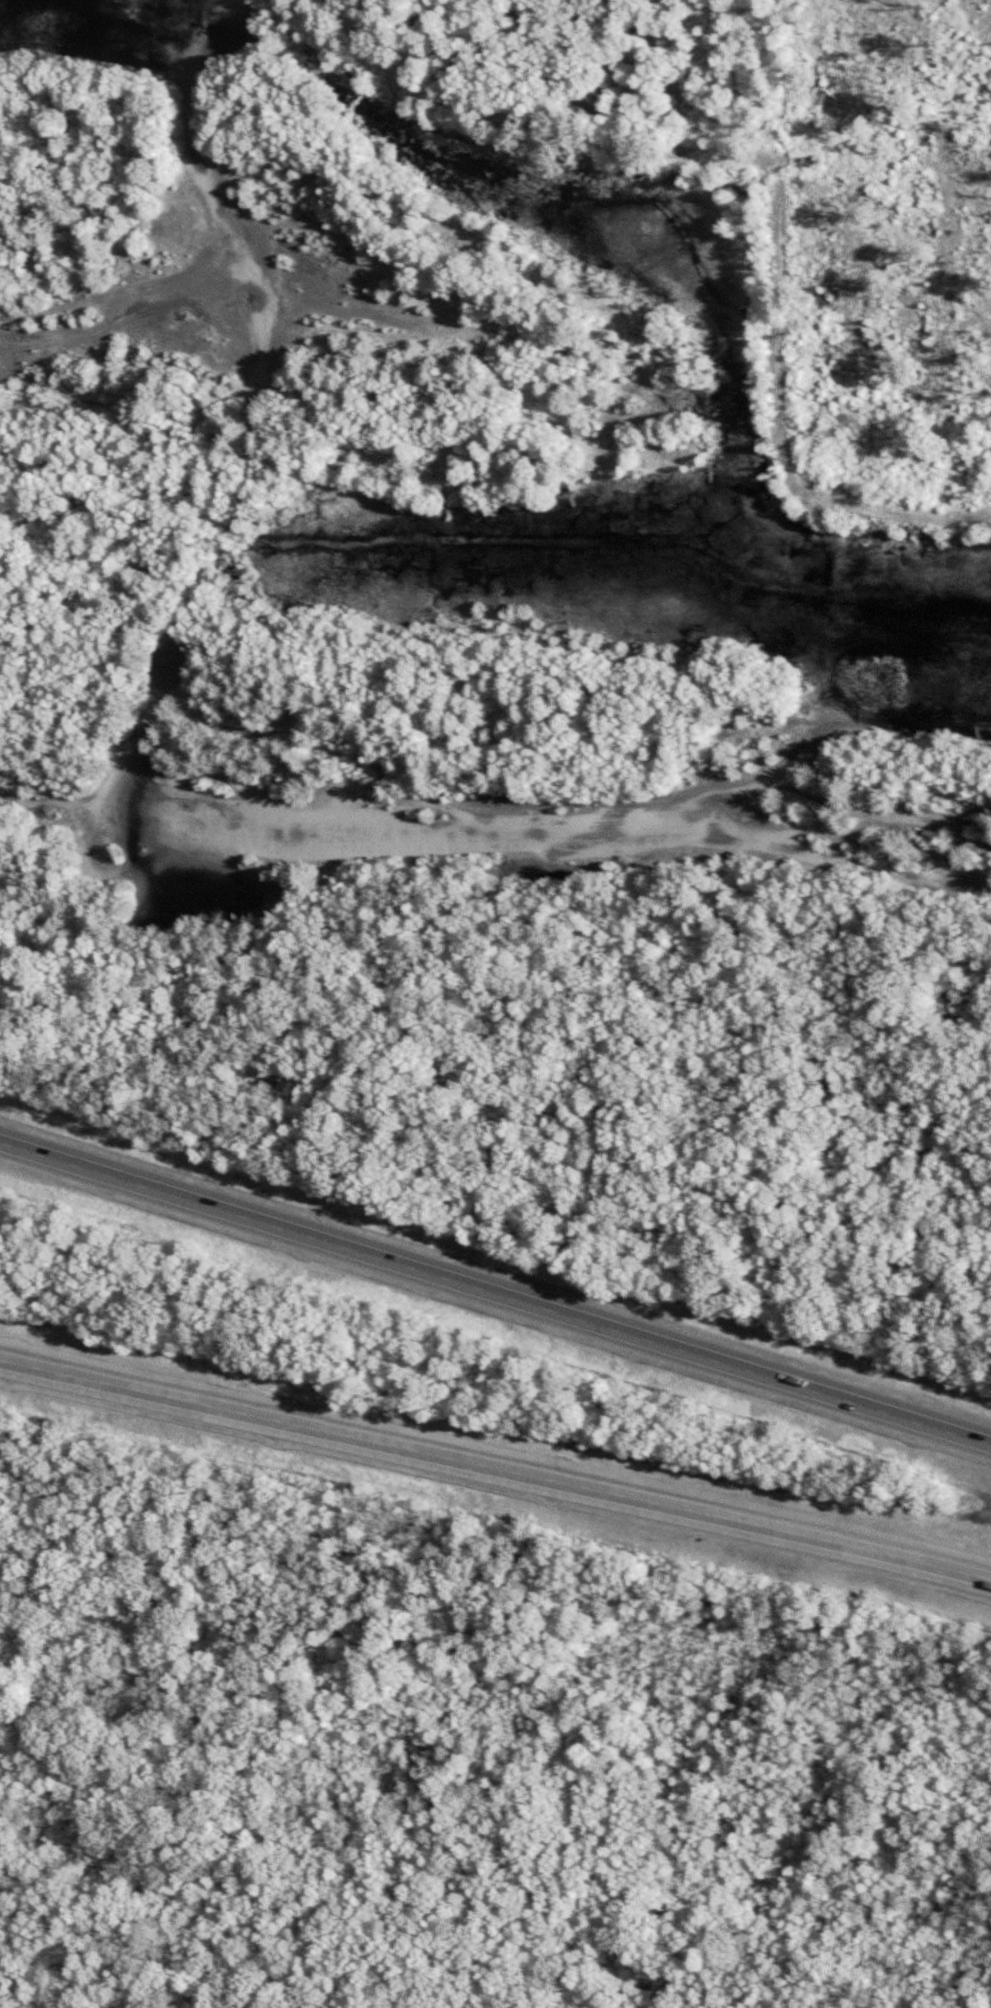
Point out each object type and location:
road: (119, 295)
road: (248, 433)
road: (560, 801)
road: (495, 1293)
road: (496, 1467)
road: (4, 1595)
road: (576, 1600)
road: (6, 1643)
road: (495, 1667)
road: (111, 1841)
road: (66, 1867)
road: (70, 1914)
road: (778, 1968)

